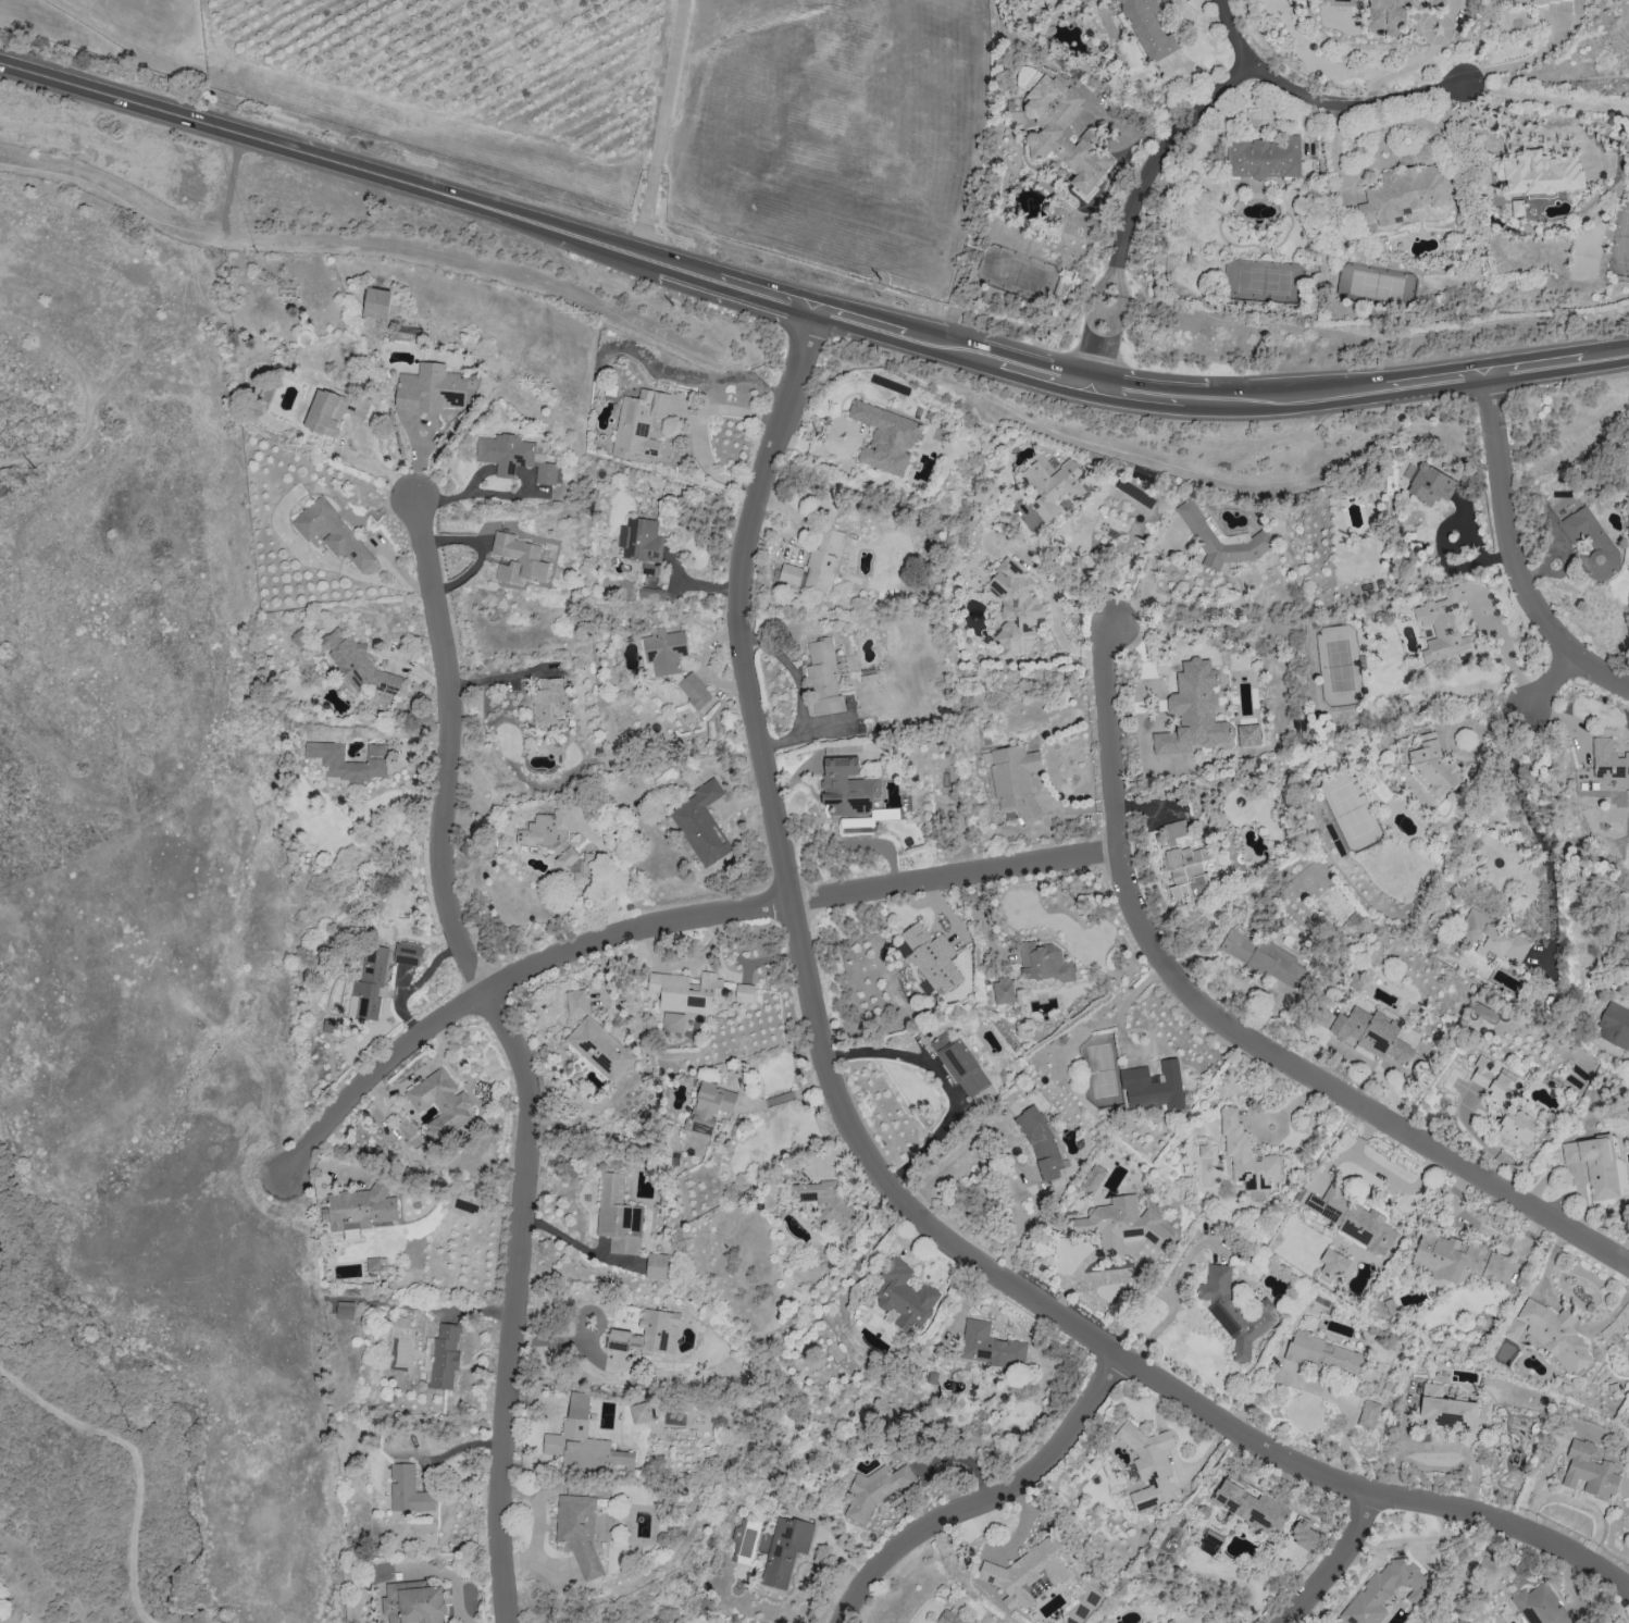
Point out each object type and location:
building: (1537, 1)
building: (1435, 2)
building: (1386, 15)
building: (1148, 28)
road: (1519, 62)
road: (1544, 98)
road: (1315, 101)
road: (662, 128)
road: (1525, 131)
building: (1061, 134)
building: (1263, 158)
road: (331, 162)
building: (1540, 173)
road: (234, 185)
building: (1404, 194)
road: (1128, 205)
road: (401, 246)
road: (692, 272)
road: (767, 295)
building: (374, 302)
road: (860, 321)
road: (55, 347)
road: (954, 348)
road: (1606, 355)
road: (196, 358)
road: (1537, 364)
road: (1046, 375)
building: (434, 388)
road: (1351, 392)
building: (265, 393)
road: (1136, 396)
road: (1196, 404)
building: (332, 410)
road: (691, 422)
building: (639, 423)
building: (885, 437)
building: (505, 453)
road: (505, 468)
building: (546, 473)
building: (1429, 484)
building: (1055, 486)
road: (509, 494)
road: (460, 495)
building: (331, 533)
building: (1219, 538)
building: (641, 542)
building: (1591, 544)
road: (1515, 553)
building: (518, 559)
building: (816, 563)
road: (1068, 568)
road: (1145, 586)
building: (652, 593)
building: (1015, 609)
building: (1443, 625)
building: (664, 651)
road: (1504, 652)
building: (356, 664)
building: (823, 678)
road: (501, 679)
road: (1549, 684)
building: (694, 691)
building: (548, 705)
building: (1193, 711)
building: (1247, 735)
building: (1427, 736)
building: (376, 759)
building: (1608, 759)
building: (1437, 769)
building: (1015, 780)
building: (847, 786)
building: (700, 823)
road: (1534, 831)
building: (558, 843)
building: (1184, 864)
road: (666, 926)
building: (1494, 938)
building: (407, 953)
building: (930, 957)
building: (1265, 957)
building: (1044, 963)
building: (370, 982)
building: (1355, 982)
building: (686, 991)
building: (1003, 991)
building: (744, 992)
building: (576, 1002)
building: (672, 1021)
building: (1614, 1026)
building: (328, 1027)
building: (1372, 1033)
road: (1242, 1036)
building: (599, 1049)
road: (518, 1051)
building: (959, 1063)
road: (942, 1081)
building: (1155, 1086)
building: (1504, 1100)
building: (440, 1104)
building: (709, 1107)
road: (1010, 1143)
building: (1041, 1143)
building: (1204, 1150)
building: (1246, 1155)
road: (871, 1162)
building: (1594, 1164)
building: (1093, 1178)
building: (825, 1203)
building: (359, 1209)
building: (618, 1216)
building: (1353, 1219)
building: (1122, 1225)
building: (1454, 1259)
building: (1332, 1263)
building: (376, 1264)
building: (656, 1265)
building: (905, 1293)
building: (345, 1310)
building: (1234, 1311)
road: (1168, 1320)
building: (647, 1333)
building: (1551, 1334)
building: (990, 1346)
building: (1325, 1355)
building: (442, 1356)
building: (1446, 1410)
building: (639, 1412)
building: (1368, 1414)
road: (1401, 1441)
building: (584, 1442)
road: (1464, 1450)
road: (135, 1462)
building: (1148, 1463)
building: (1590, 1472)
building: (408, 1490)
building: (875, 1490)
road: (991, 1499)
building: (1251, 1507)
building: (577, 1528)
building: (1303, 1535)
road: (1417, 1539)
building: (1210, 1540)
building: (786, 1550)
road: (1338, 1562)
building: (1027, 1574)
building: (1385, 1590)
building: (1541, 1605)
building: (949, 1618)
building: (1169, 1621)

